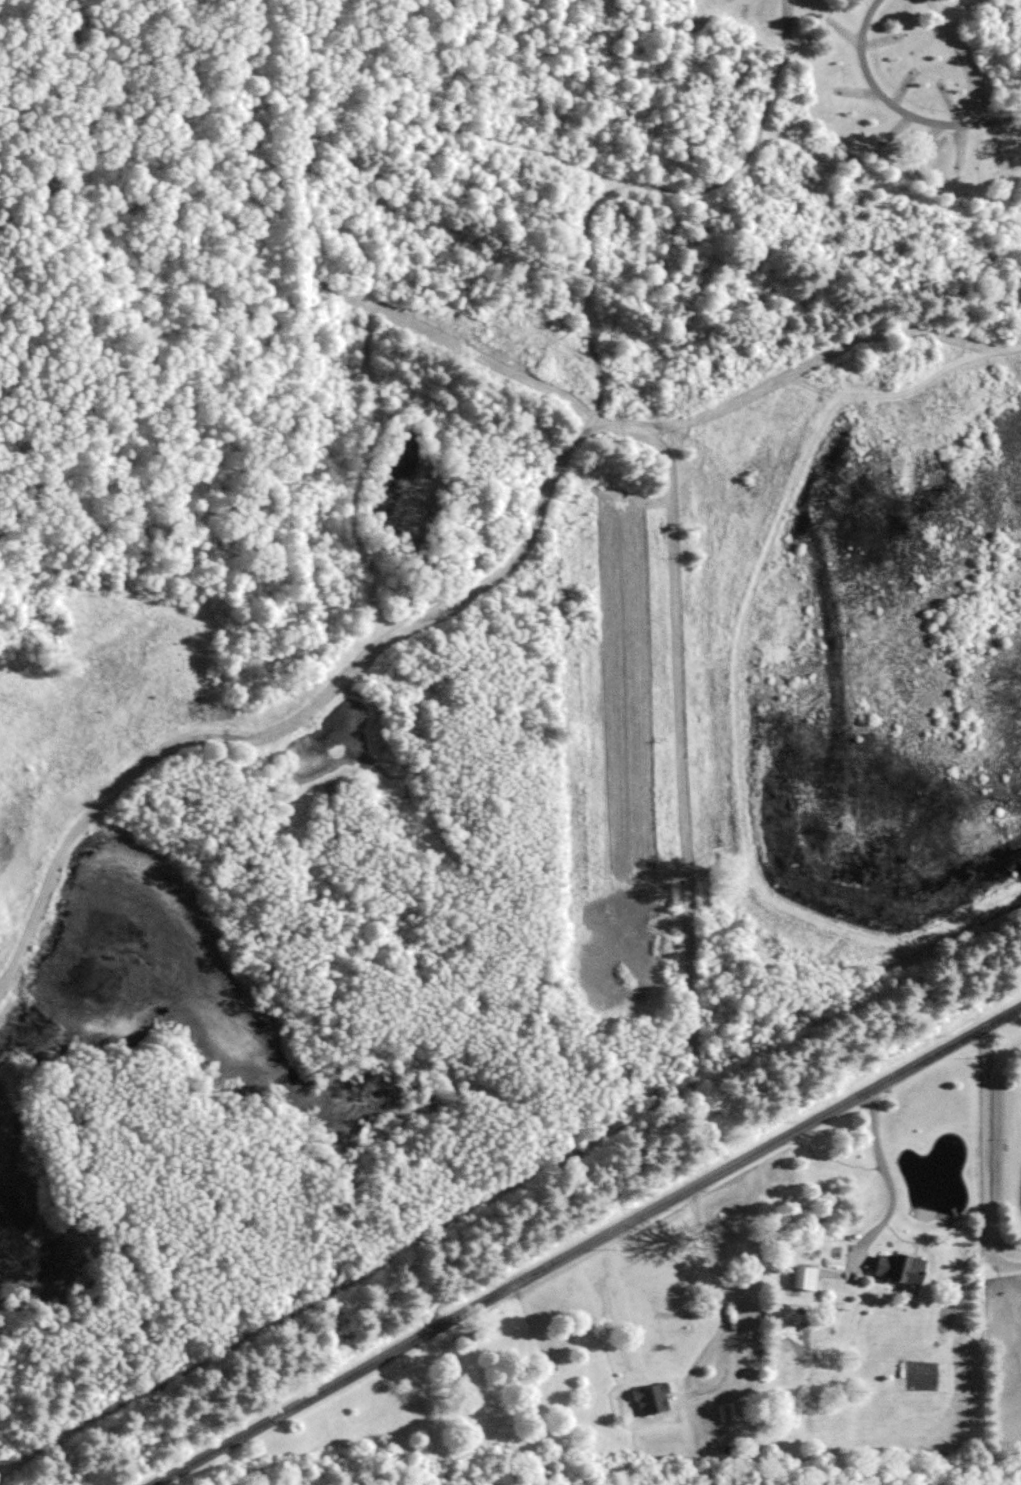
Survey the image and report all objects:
road: (672, 88)
road: (895, 108)
road: (361, 247)
road: (644, 413)
road: (564, 426)
road: (685, 1110)
road: (998, 1151)
road: (892, 1177)
road: (583, 1243)
building: (898, 1270)
building: (803, 1278)
road: (738, 1346)
building: (651, 1398)

